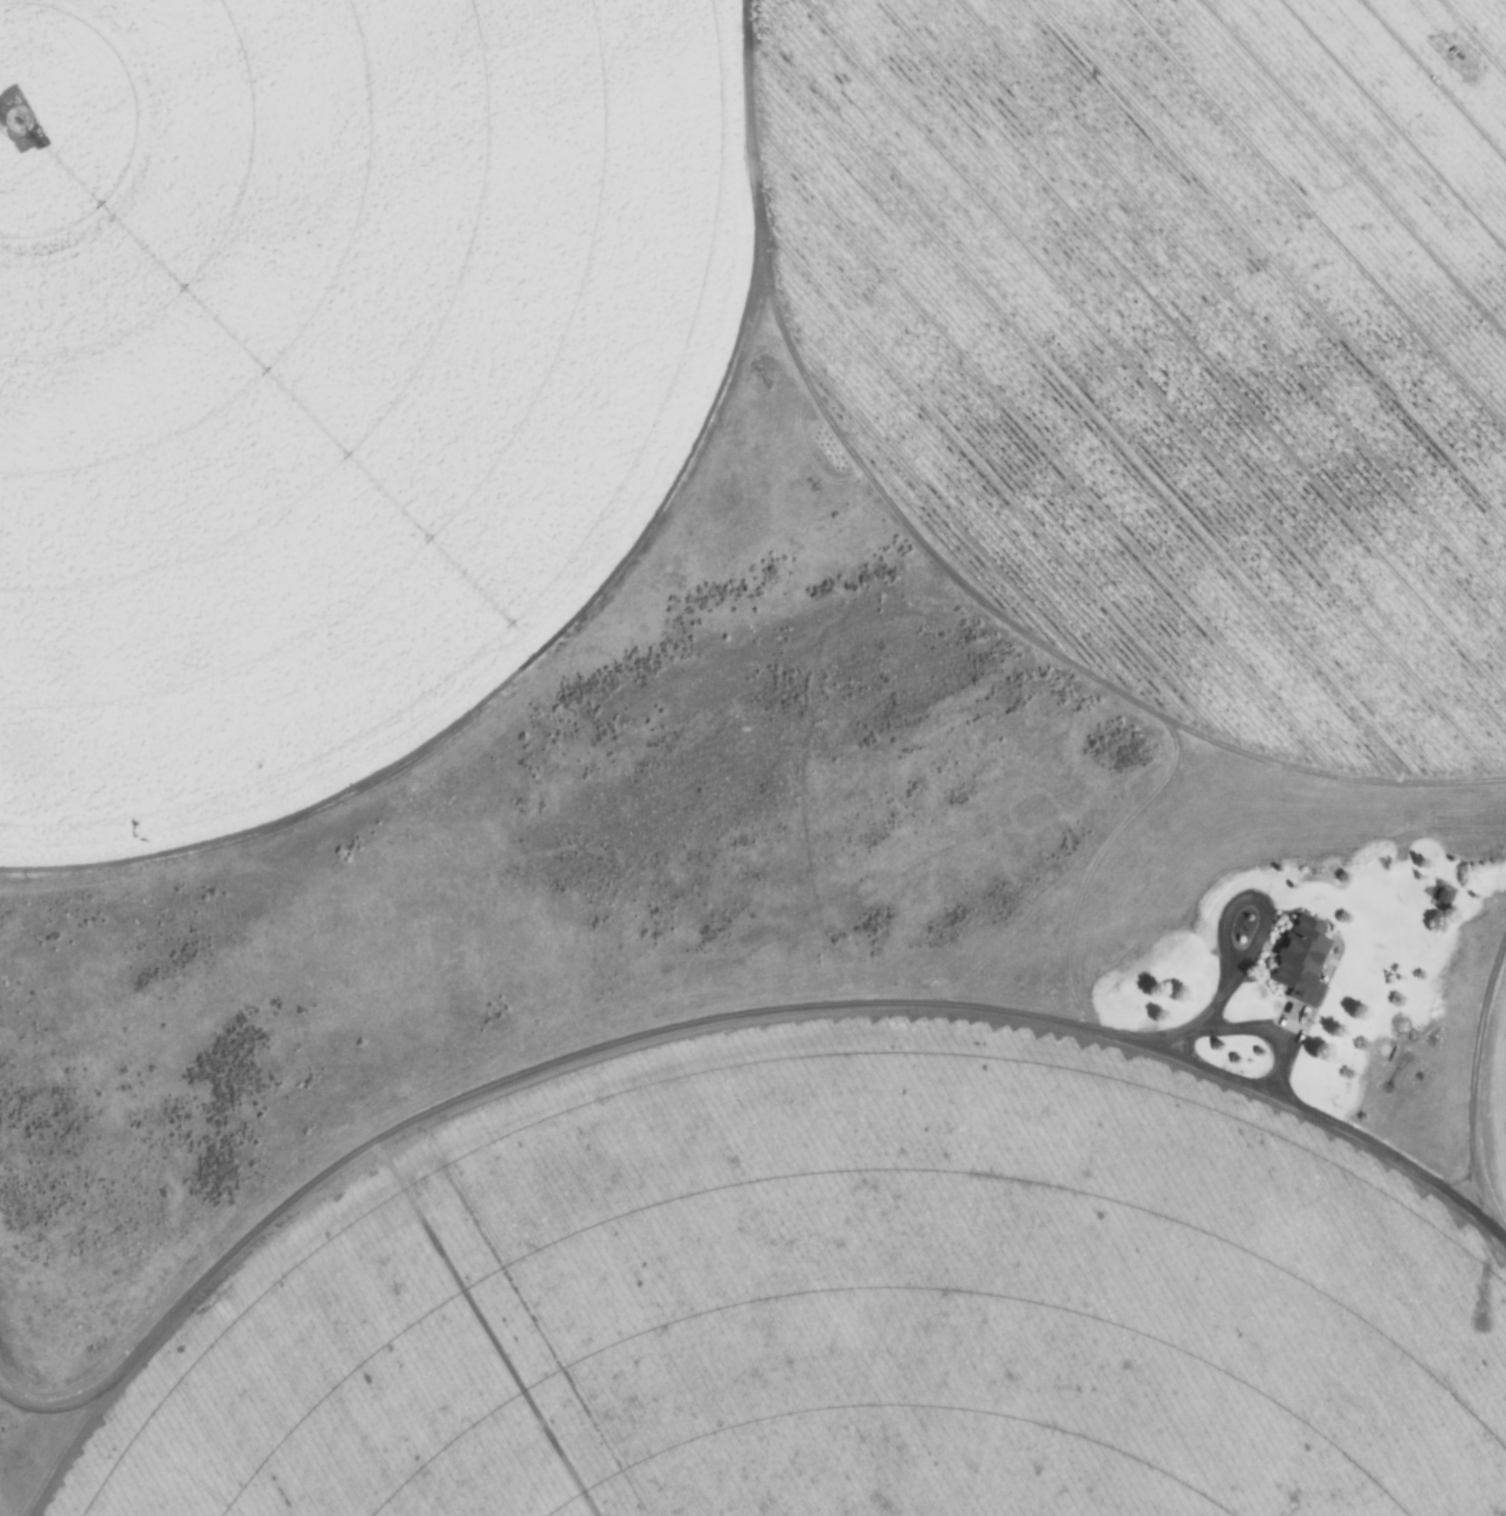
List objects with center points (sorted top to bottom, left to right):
building: (1442, 899)
building: (1296, 958)

